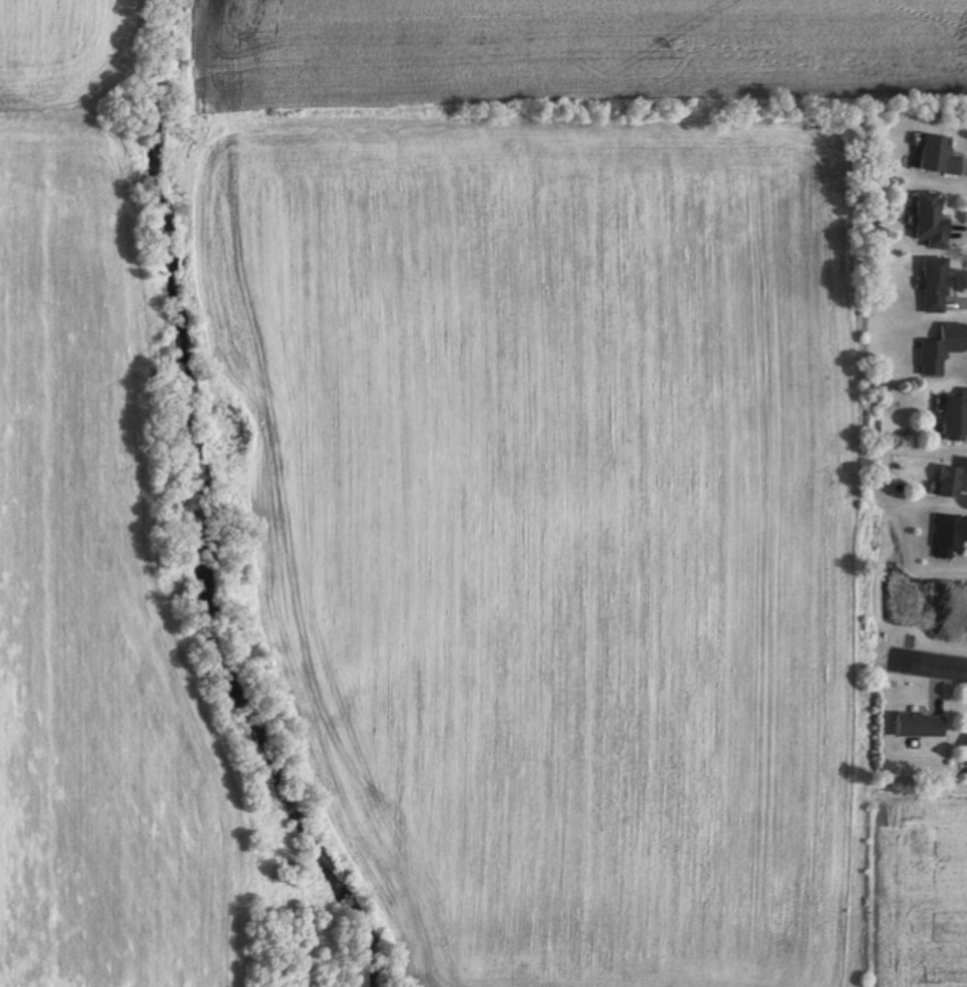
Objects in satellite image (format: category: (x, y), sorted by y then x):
building: (943, 156)
building: (935, 220)
building: (938, 284)
building: (957, 419)
crop: (581, 469)
building: (955, 482)
river: (218, 509)
park: (919, 611)
road: (929, 664)
building: (922, 726)

